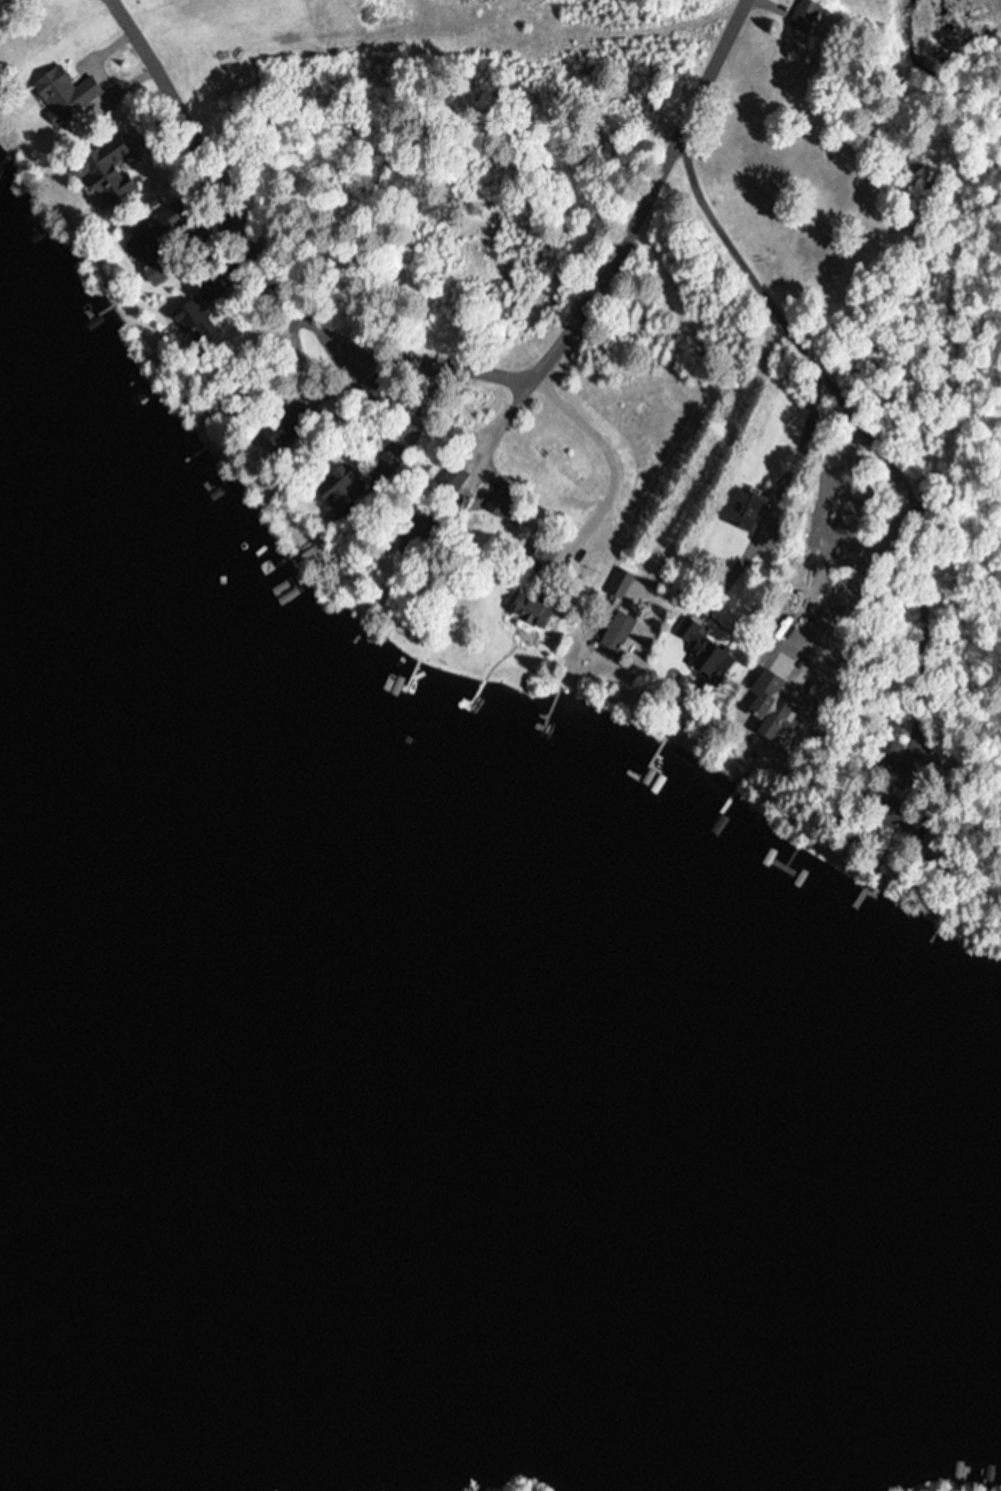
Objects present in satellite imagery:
building: (803, 16)
road: (701, 78)
building: (25, 139)
building: (105, 173)
building: (148, 254)
building: (188, 318)
road: (354, 348)
road: (882, 393)
building: (276, 441)
building: (452, 479)
building: (339, 489)
building: (507, 510)
building: (619, 584)
building: (529, 612)
building: (615, 631)
building: (707, 650)
building: (888, 809)

